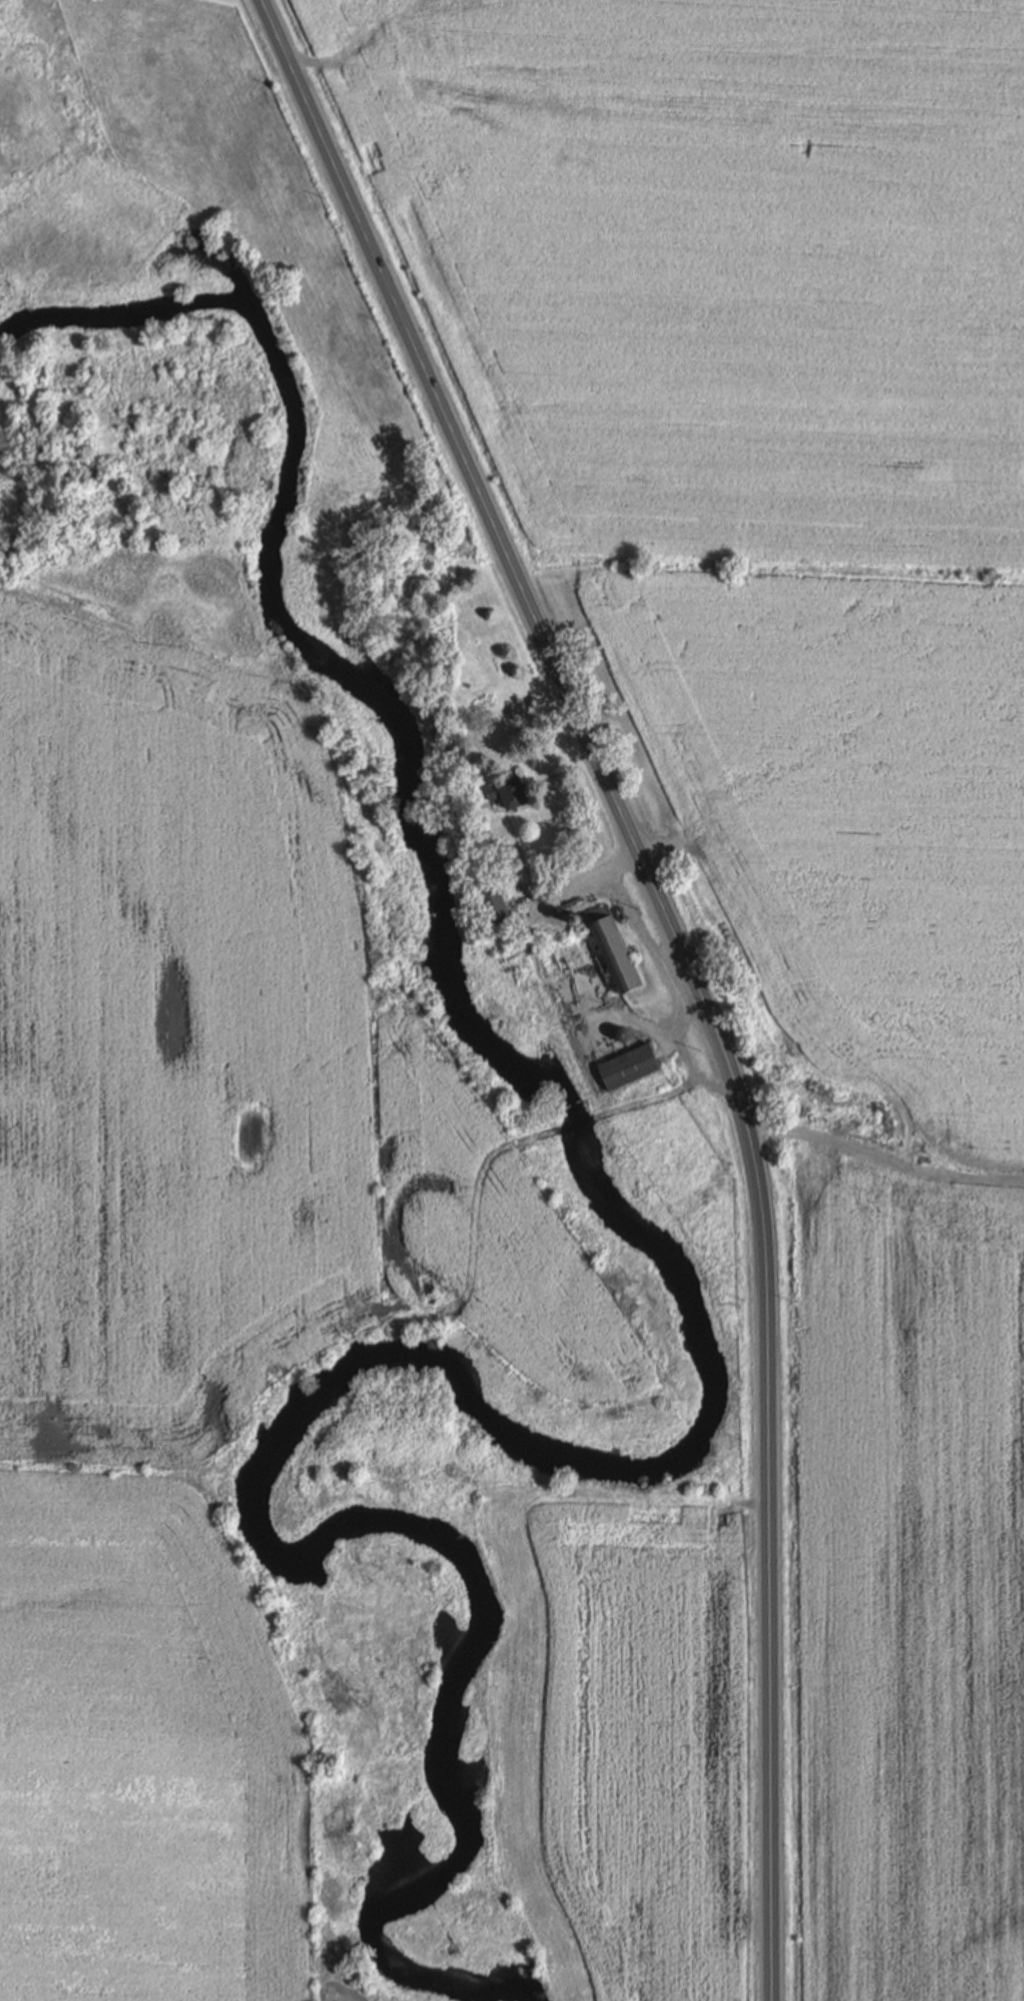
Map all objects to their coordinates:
crop: (720, 259)
road: (520, 579)
building: (510, 792)
crop: (852, 800)
road: (589, 876)
building: (500, 920)
road: (637, 926)
building: (613, 947)
building: (569, 954)
road: (810, 994)
crop: (170, 1015)
building: (629, 1066)
road: (908, 1173)
crop: (483, 1228)
river: (713, 1426)
crop: (912, 1593)
crop: (143, 1756)

